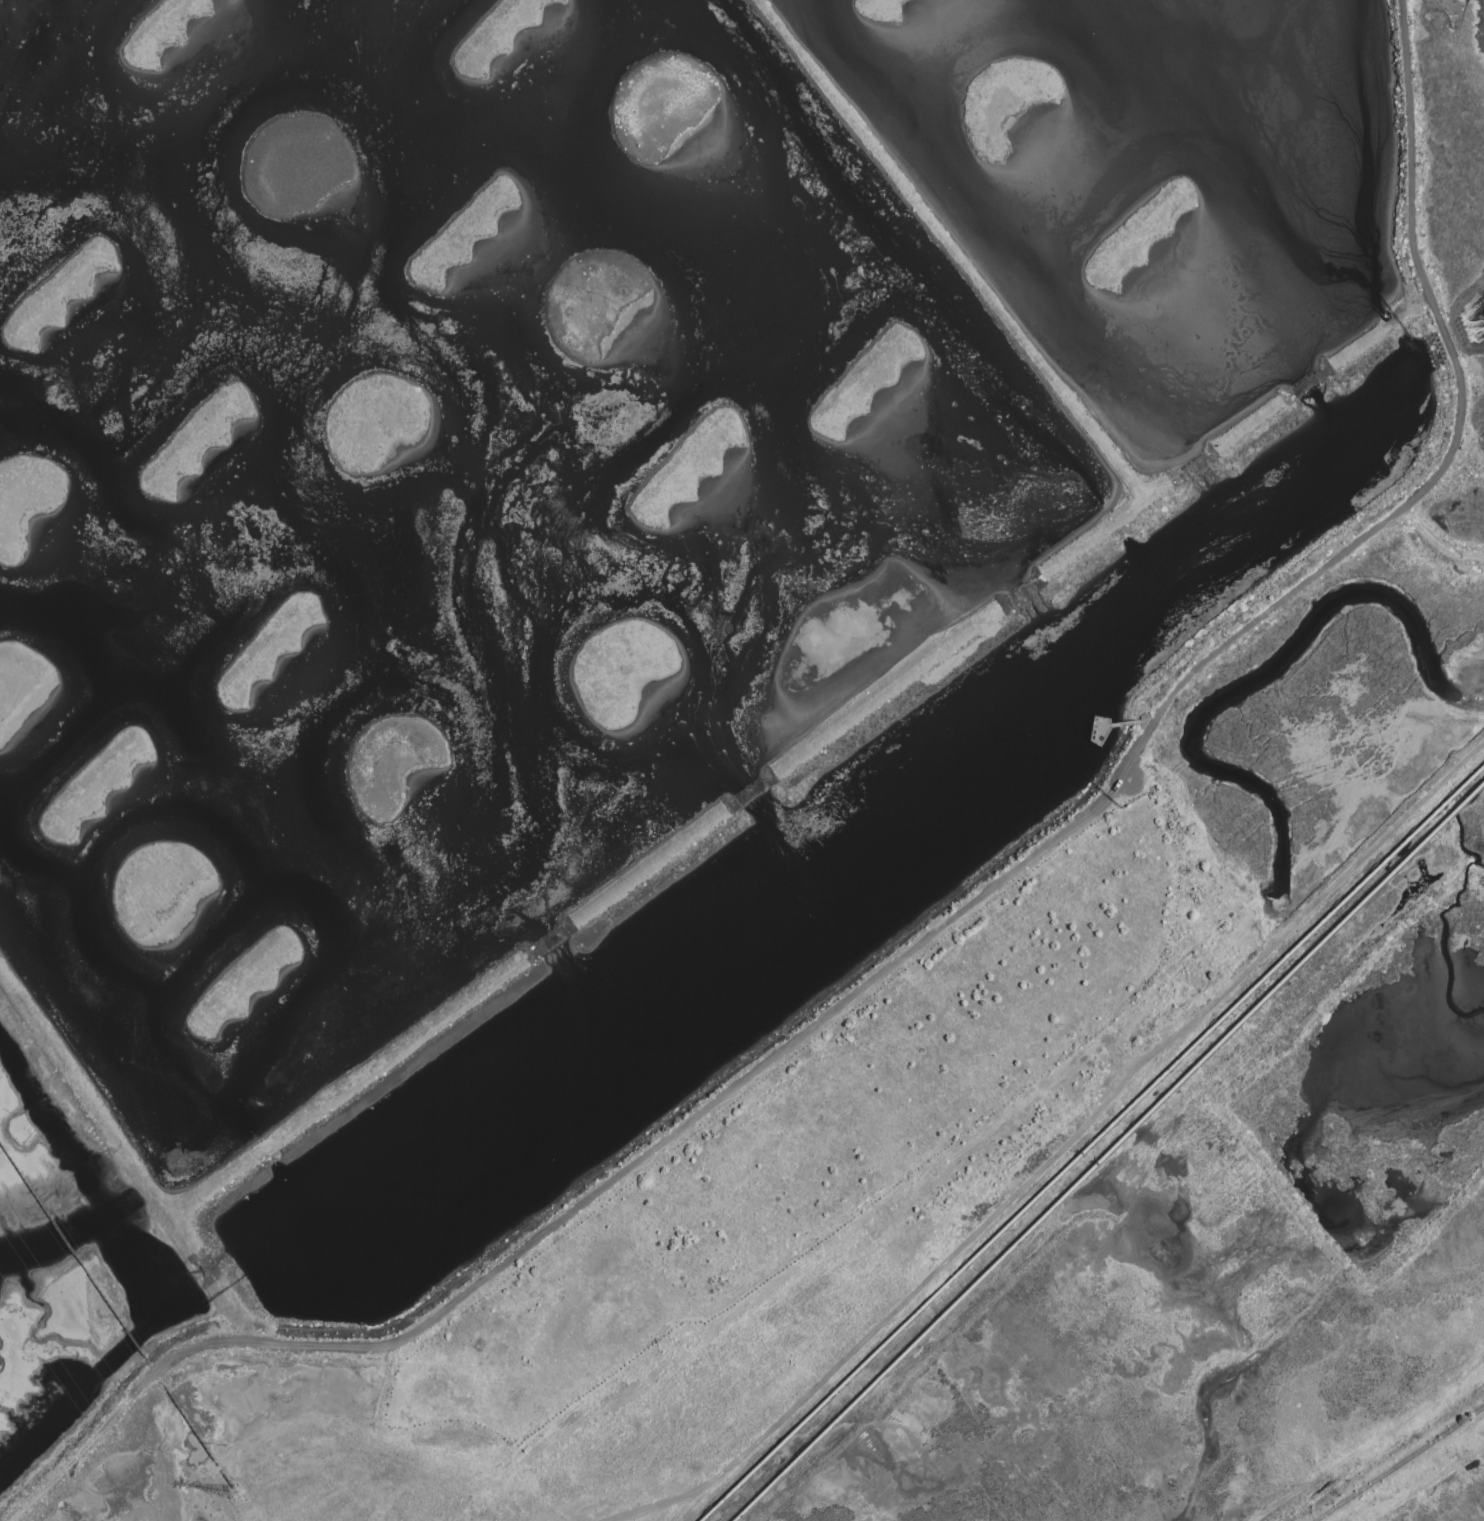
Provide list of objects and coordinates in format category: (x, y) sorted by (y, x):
road: (1445, 456)
road: (1133, 723)
road: (1091, 742)
road: (1090, 1118)
road: (581, 1204)
railway: (1398, 1464)
power tower: (240, 1496)
road: (649, 1506)

